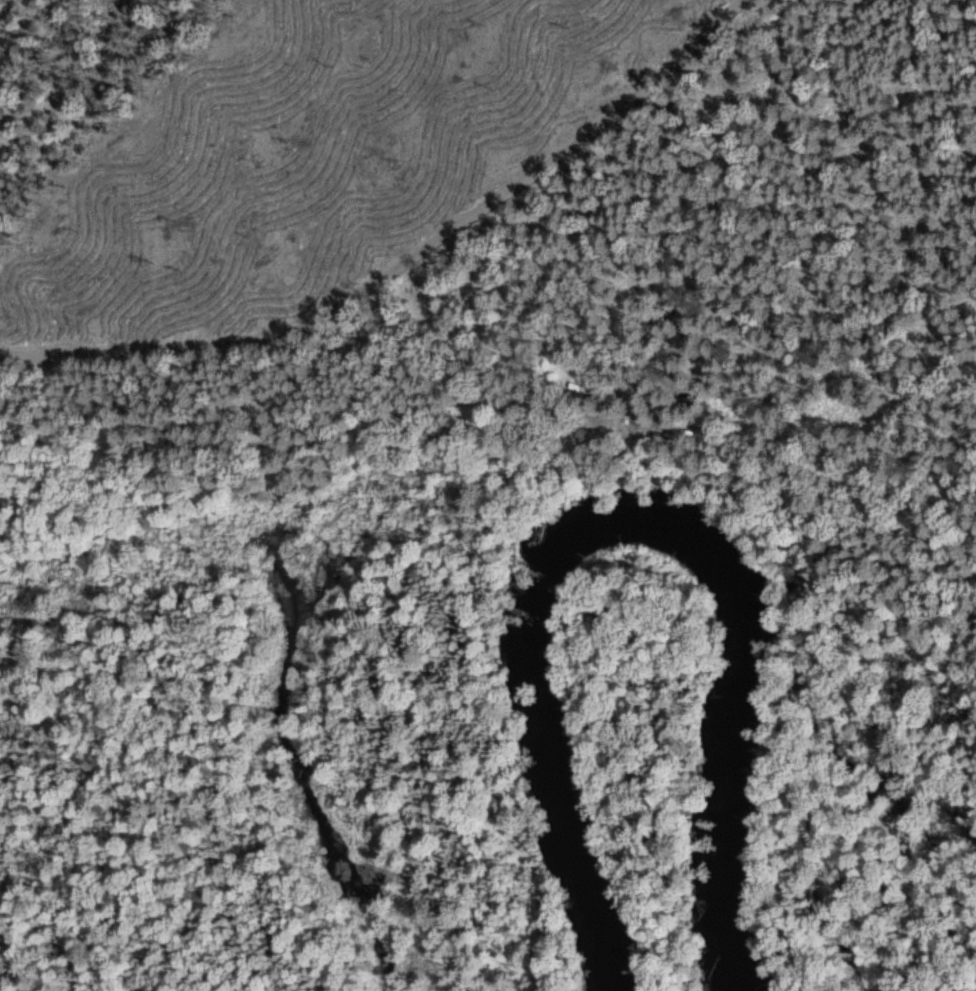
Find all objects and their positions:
road: (403, 256)
building: (575, 385)
river: (632, 523)

